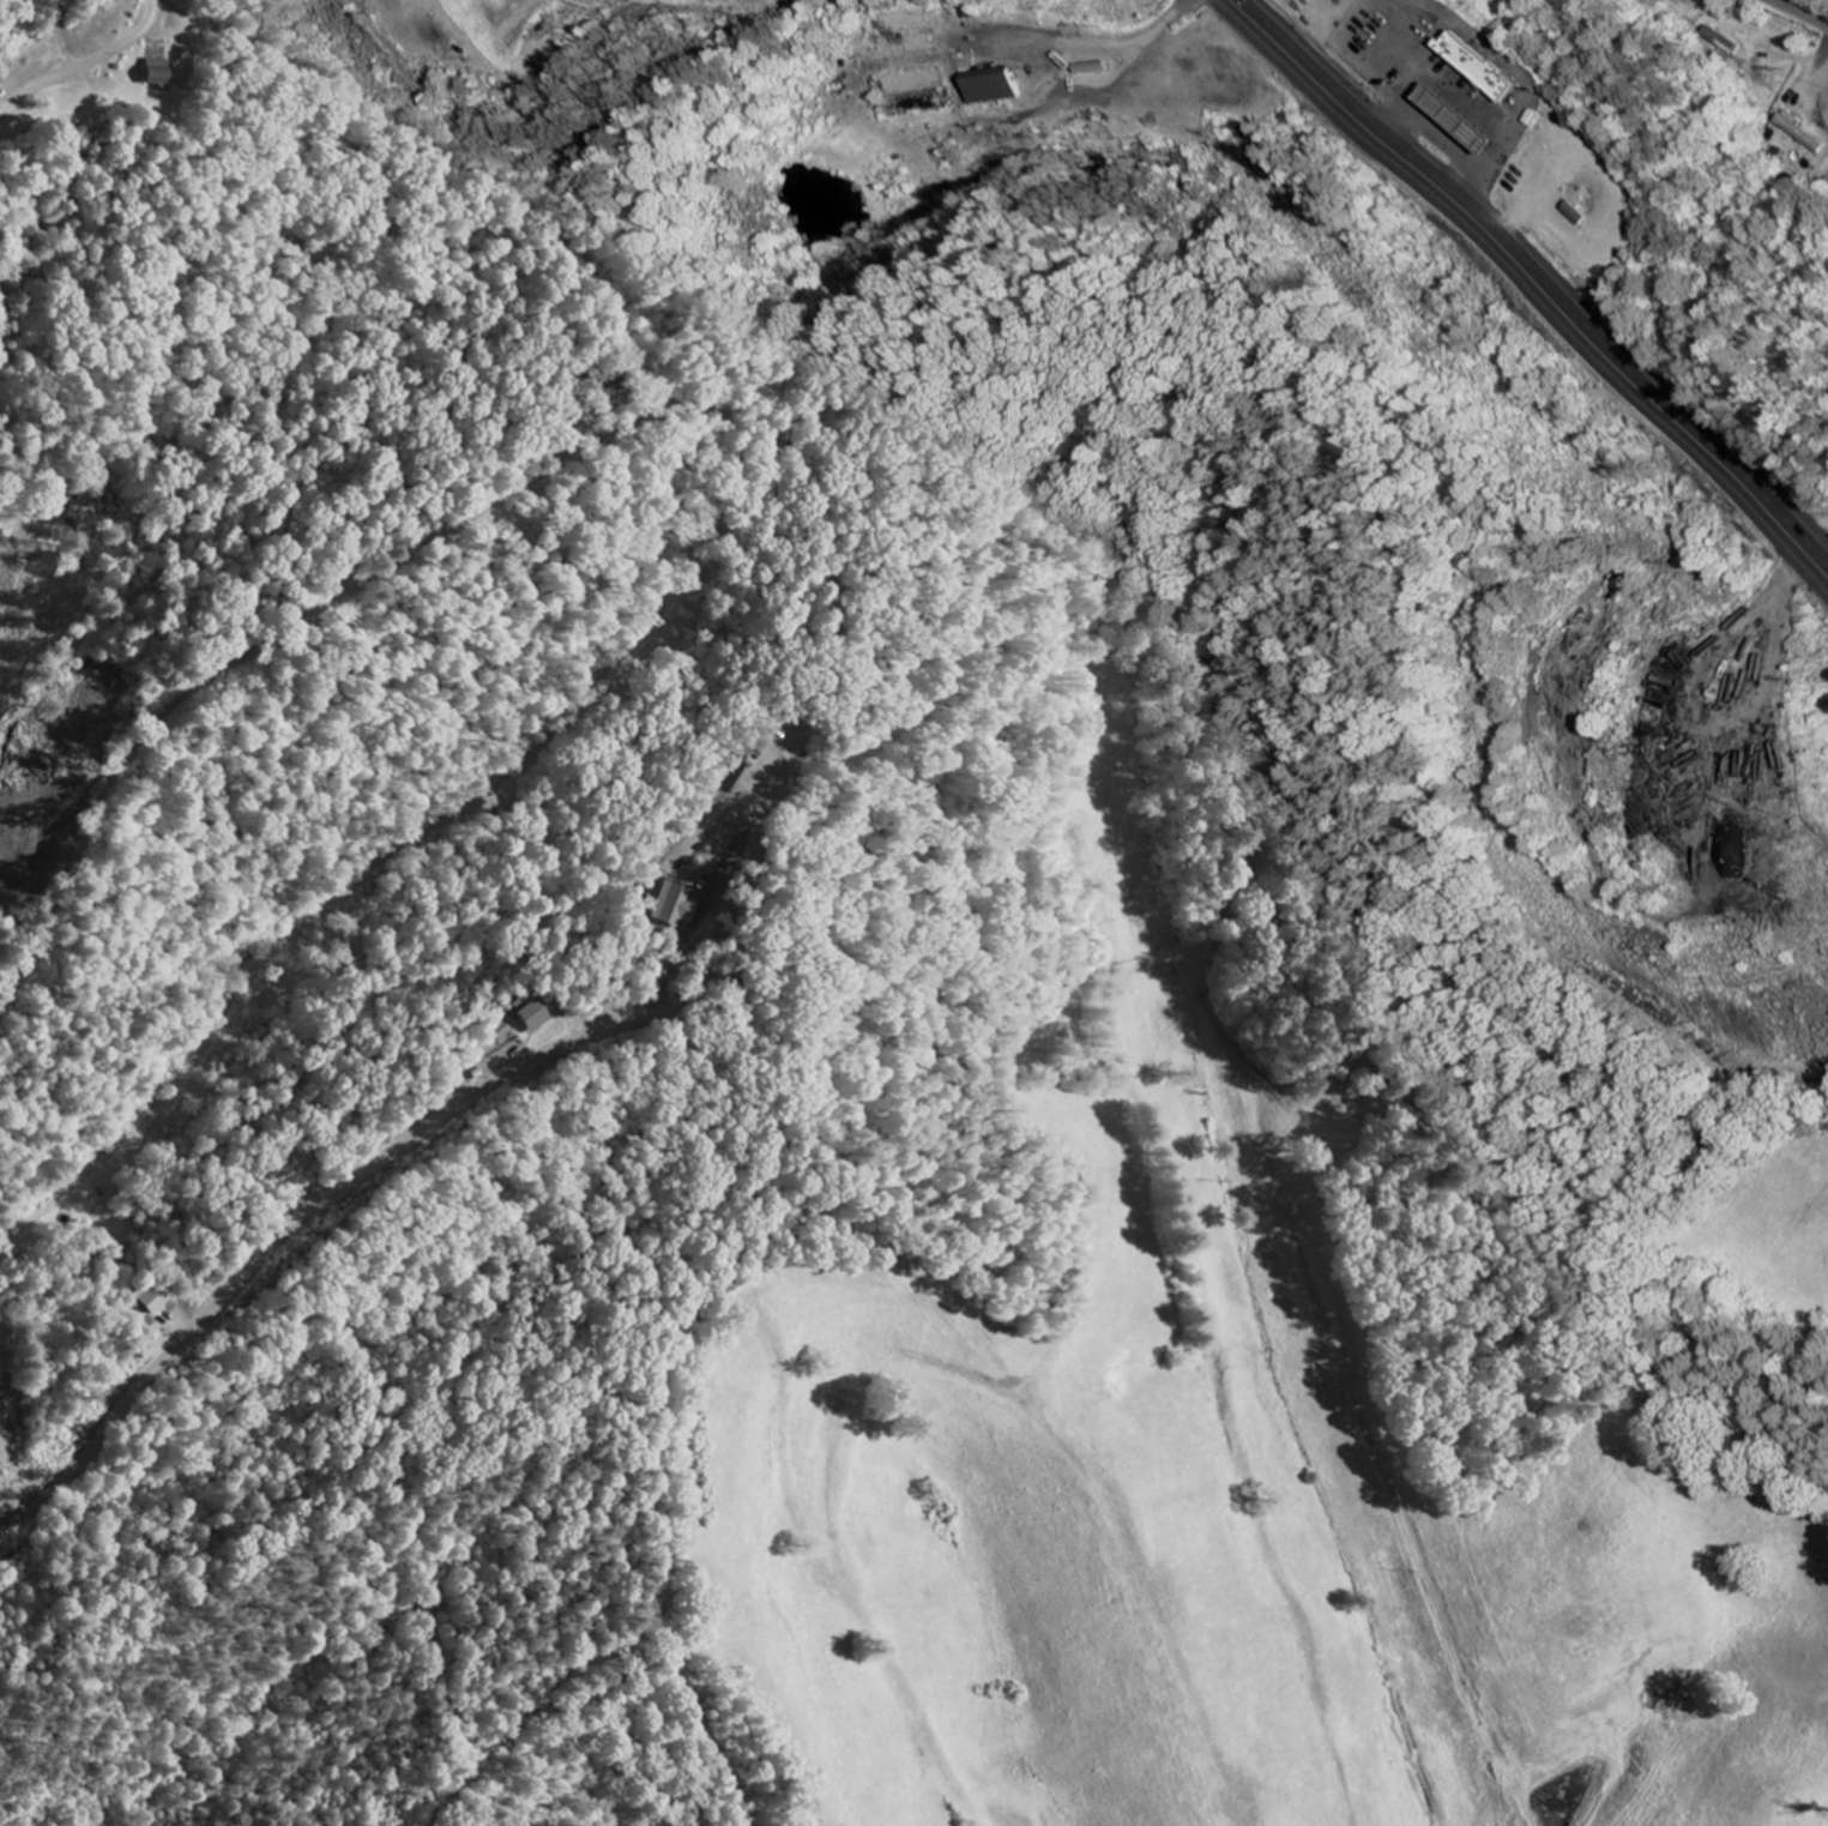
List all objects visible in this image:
building: (1654, 1)
road: (1244, 8)
road: (1797, 16)
road: (88, 64)
building: (1497, 67)
building: (159, 73)
building: (1006, 90)
building: (1468, 122)
road: (1384, 144)
road: (1671, 426)
building: (663, 902)
building: (531, 1016)
building: (149, 1298)

